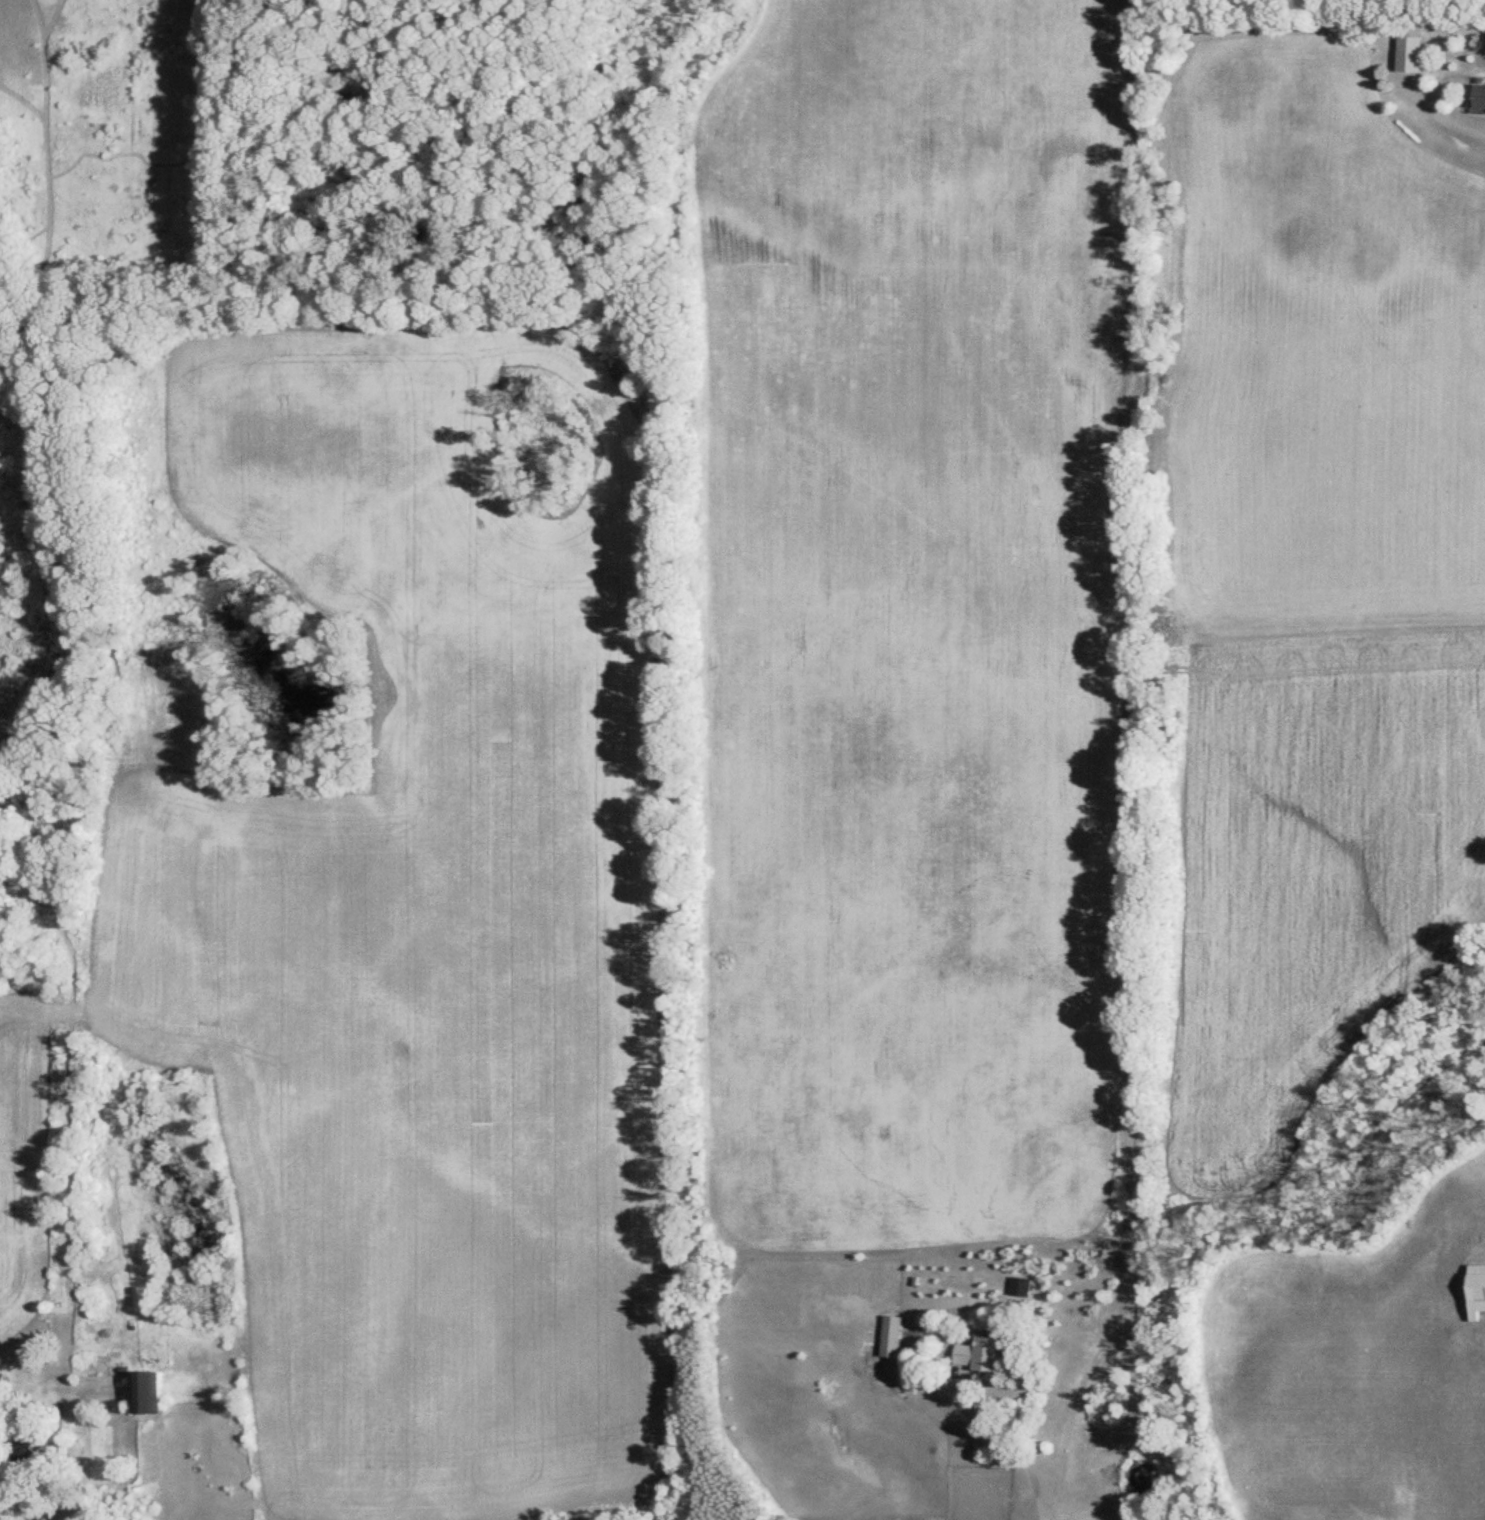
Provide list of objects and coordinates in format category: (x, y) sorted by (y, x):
building: (1405, 55)
building: (1476, 97)
road: (1448, 116)
building: (1474, 1291)
building: (889, 1337)
building: (976, 1355)
road: (1021, 1440)

